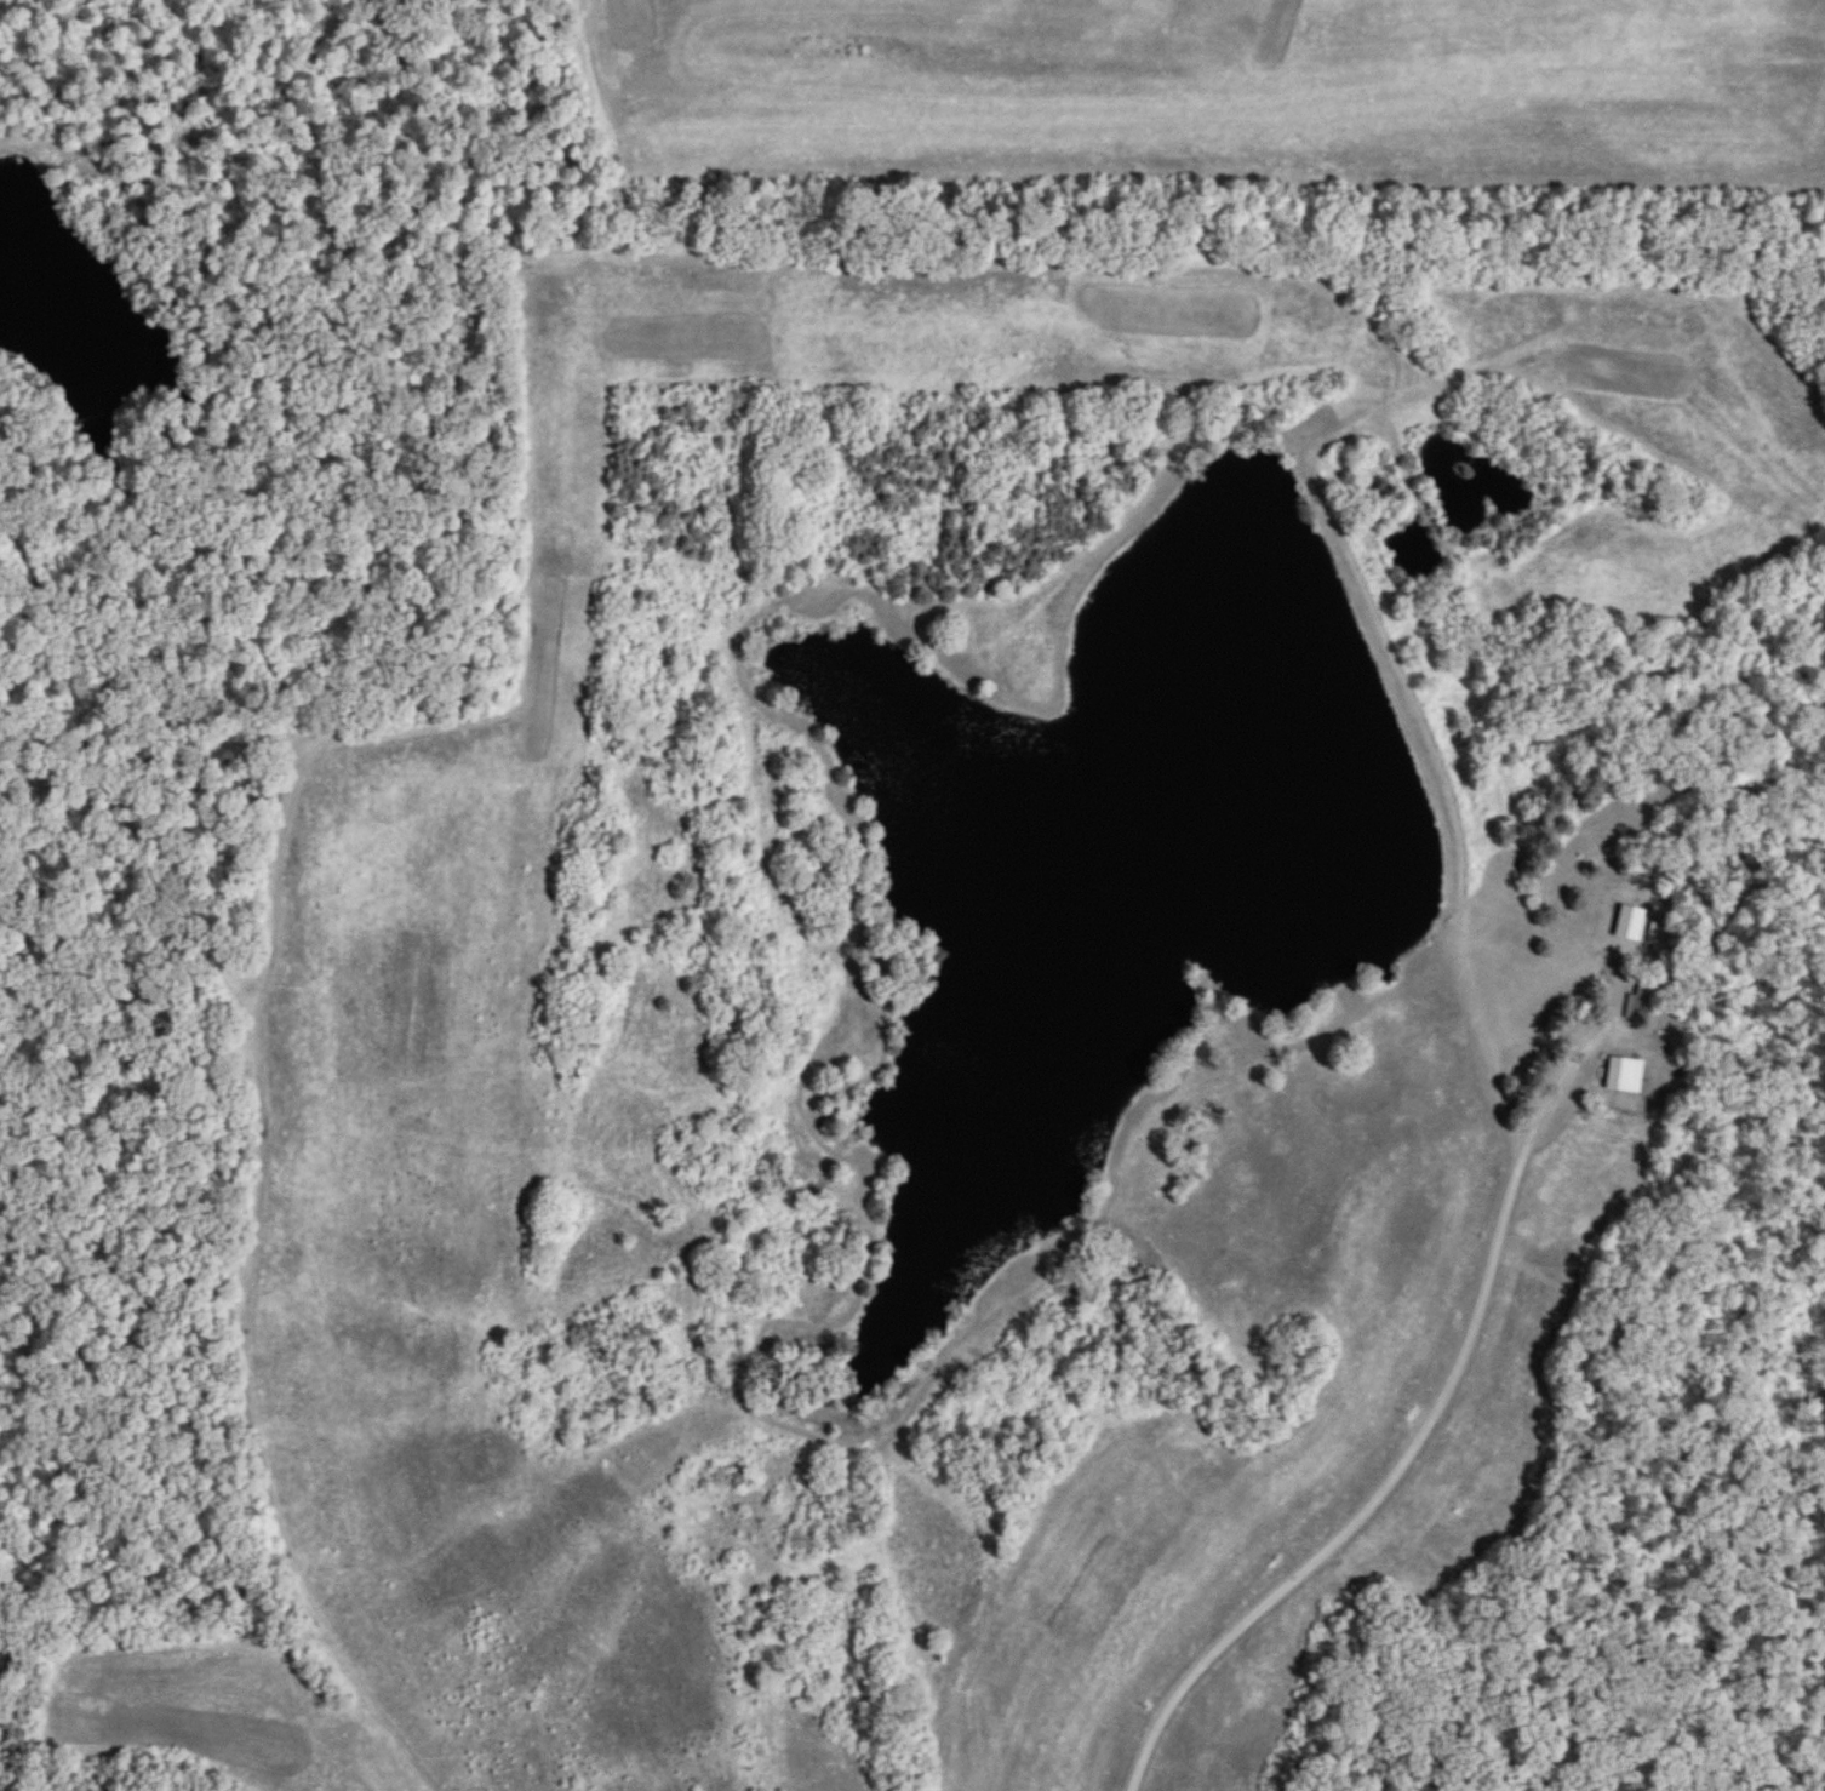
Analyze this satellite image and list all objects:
building: (1631, 1077)
road: (1423, 1435)

